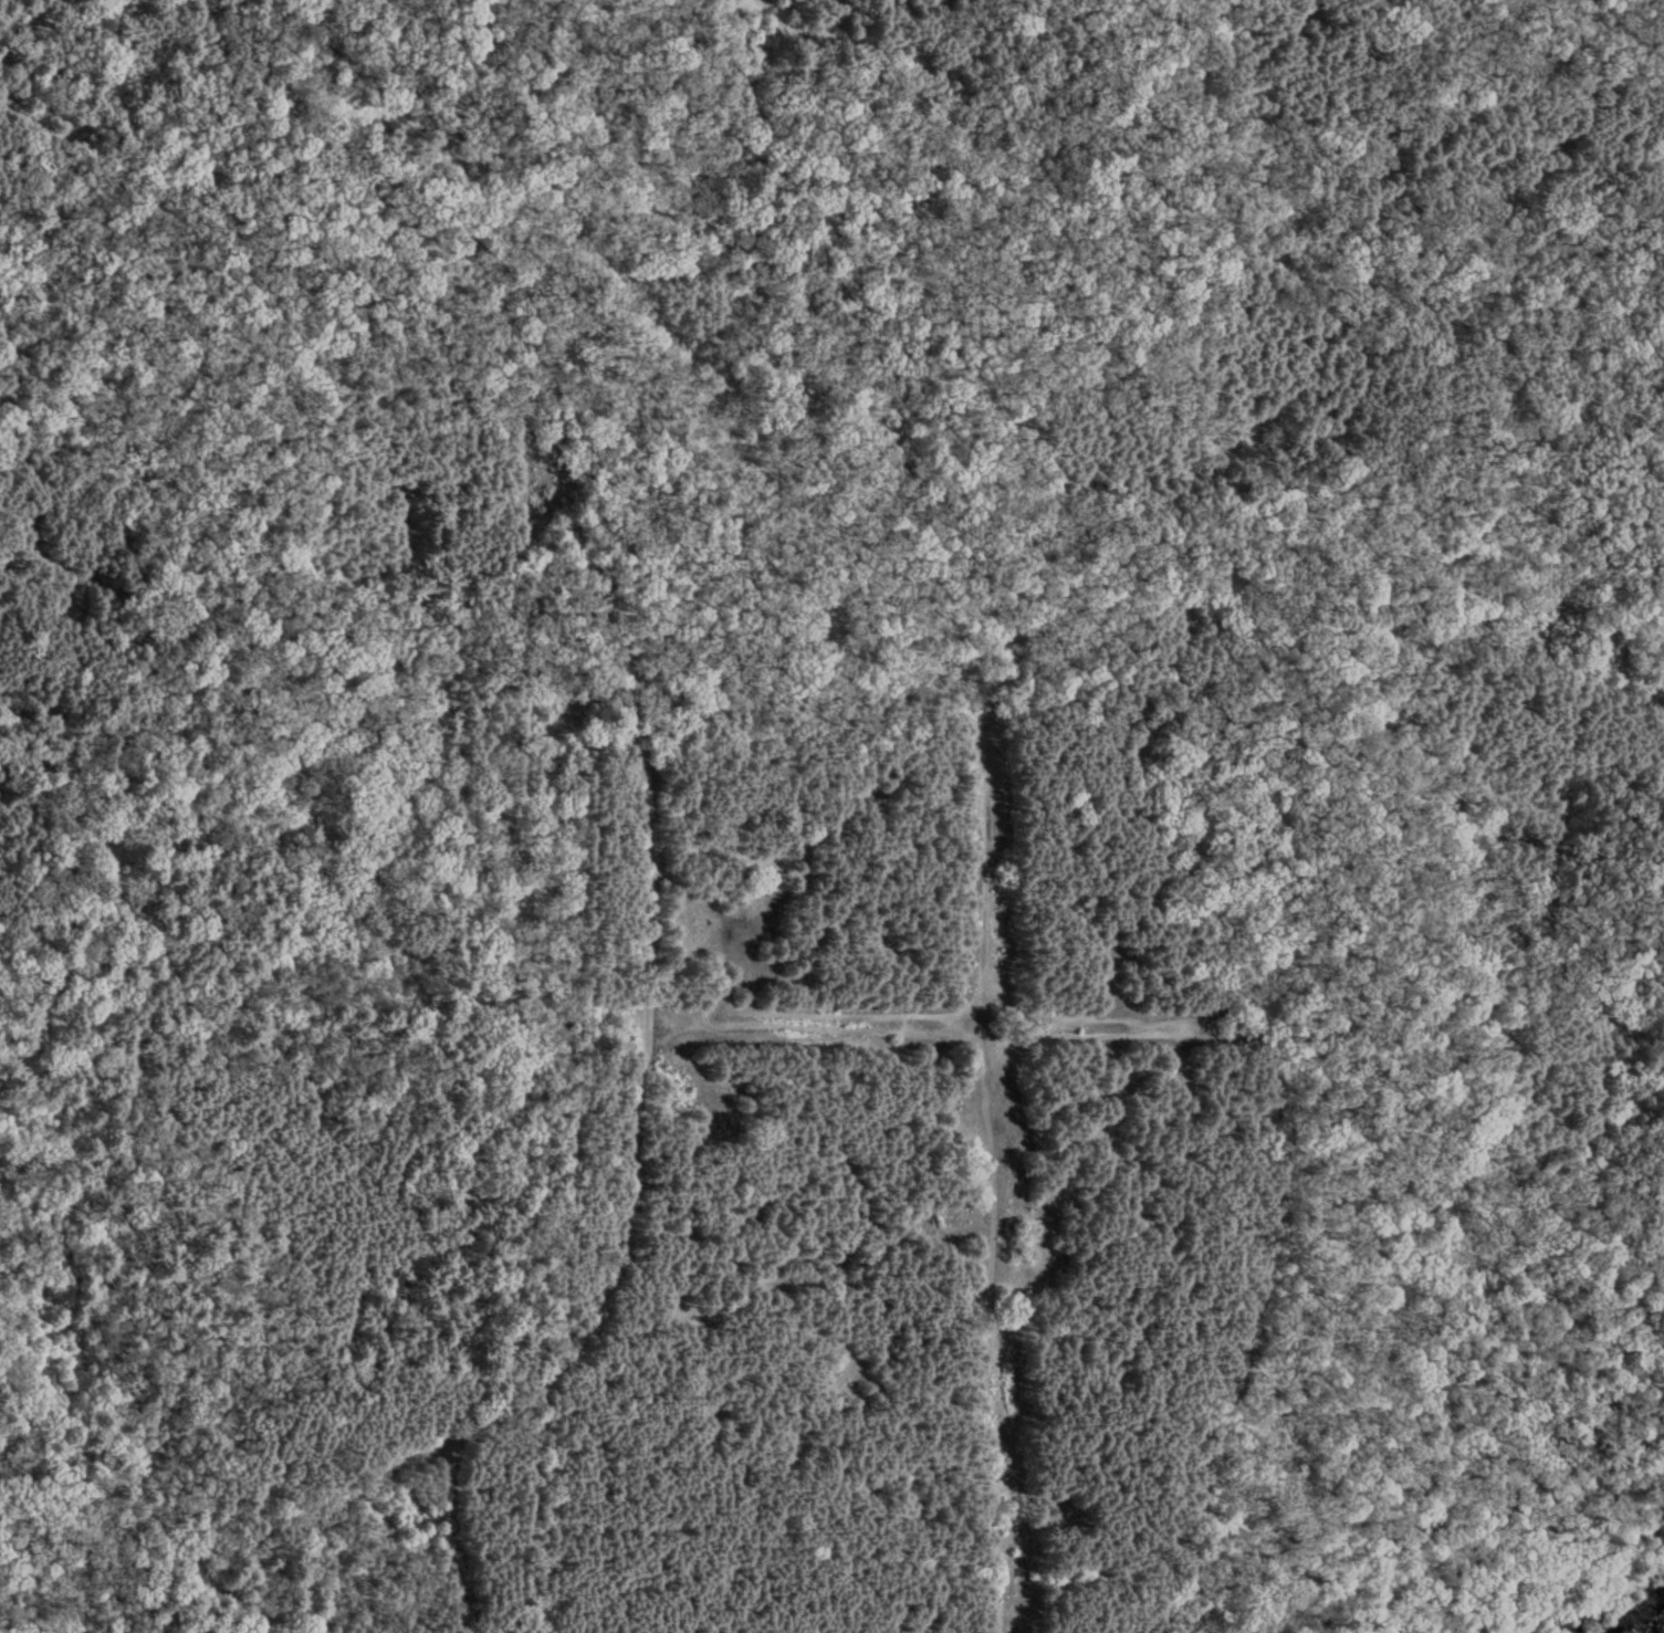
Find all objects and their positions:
road: (618, 729)
road: (303, 1475)
road: (453, 1522)
road: (160, 1540)

